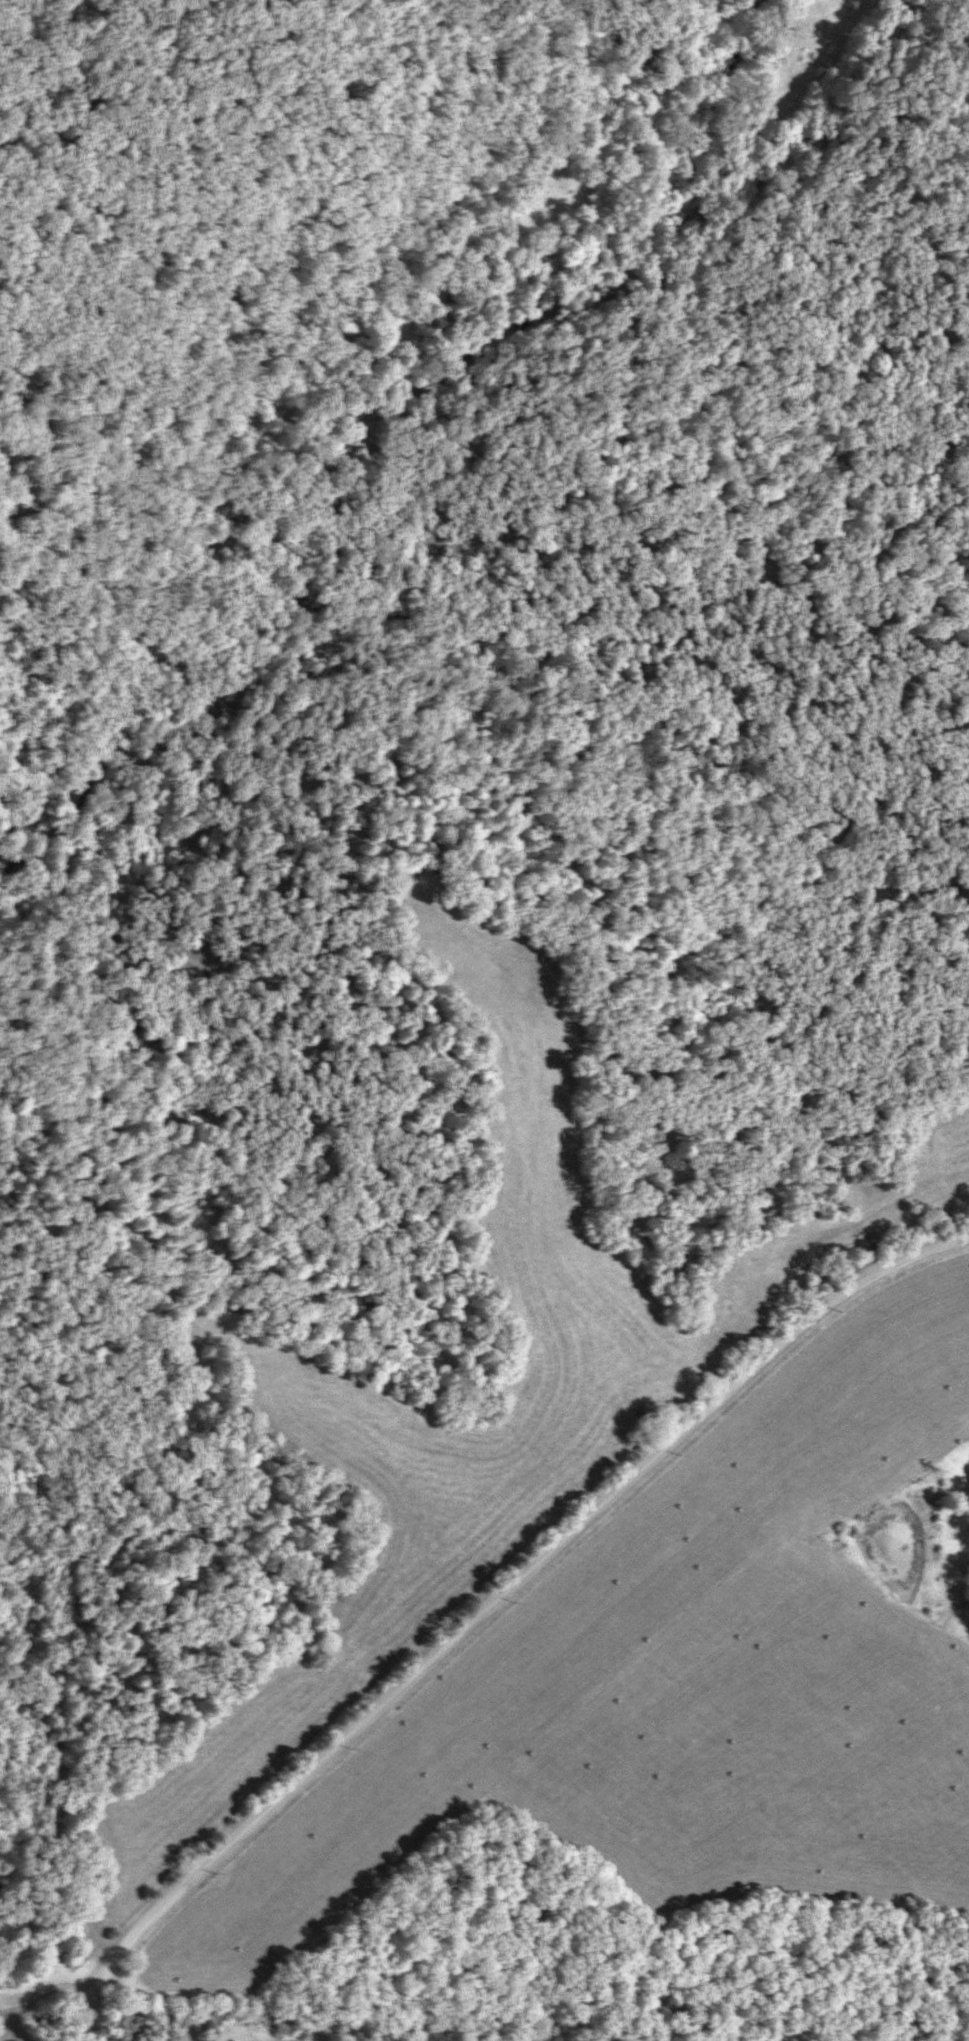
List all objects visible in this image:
road: (492, 1604)
road: (83, 1980)
road: (31, 1995)

